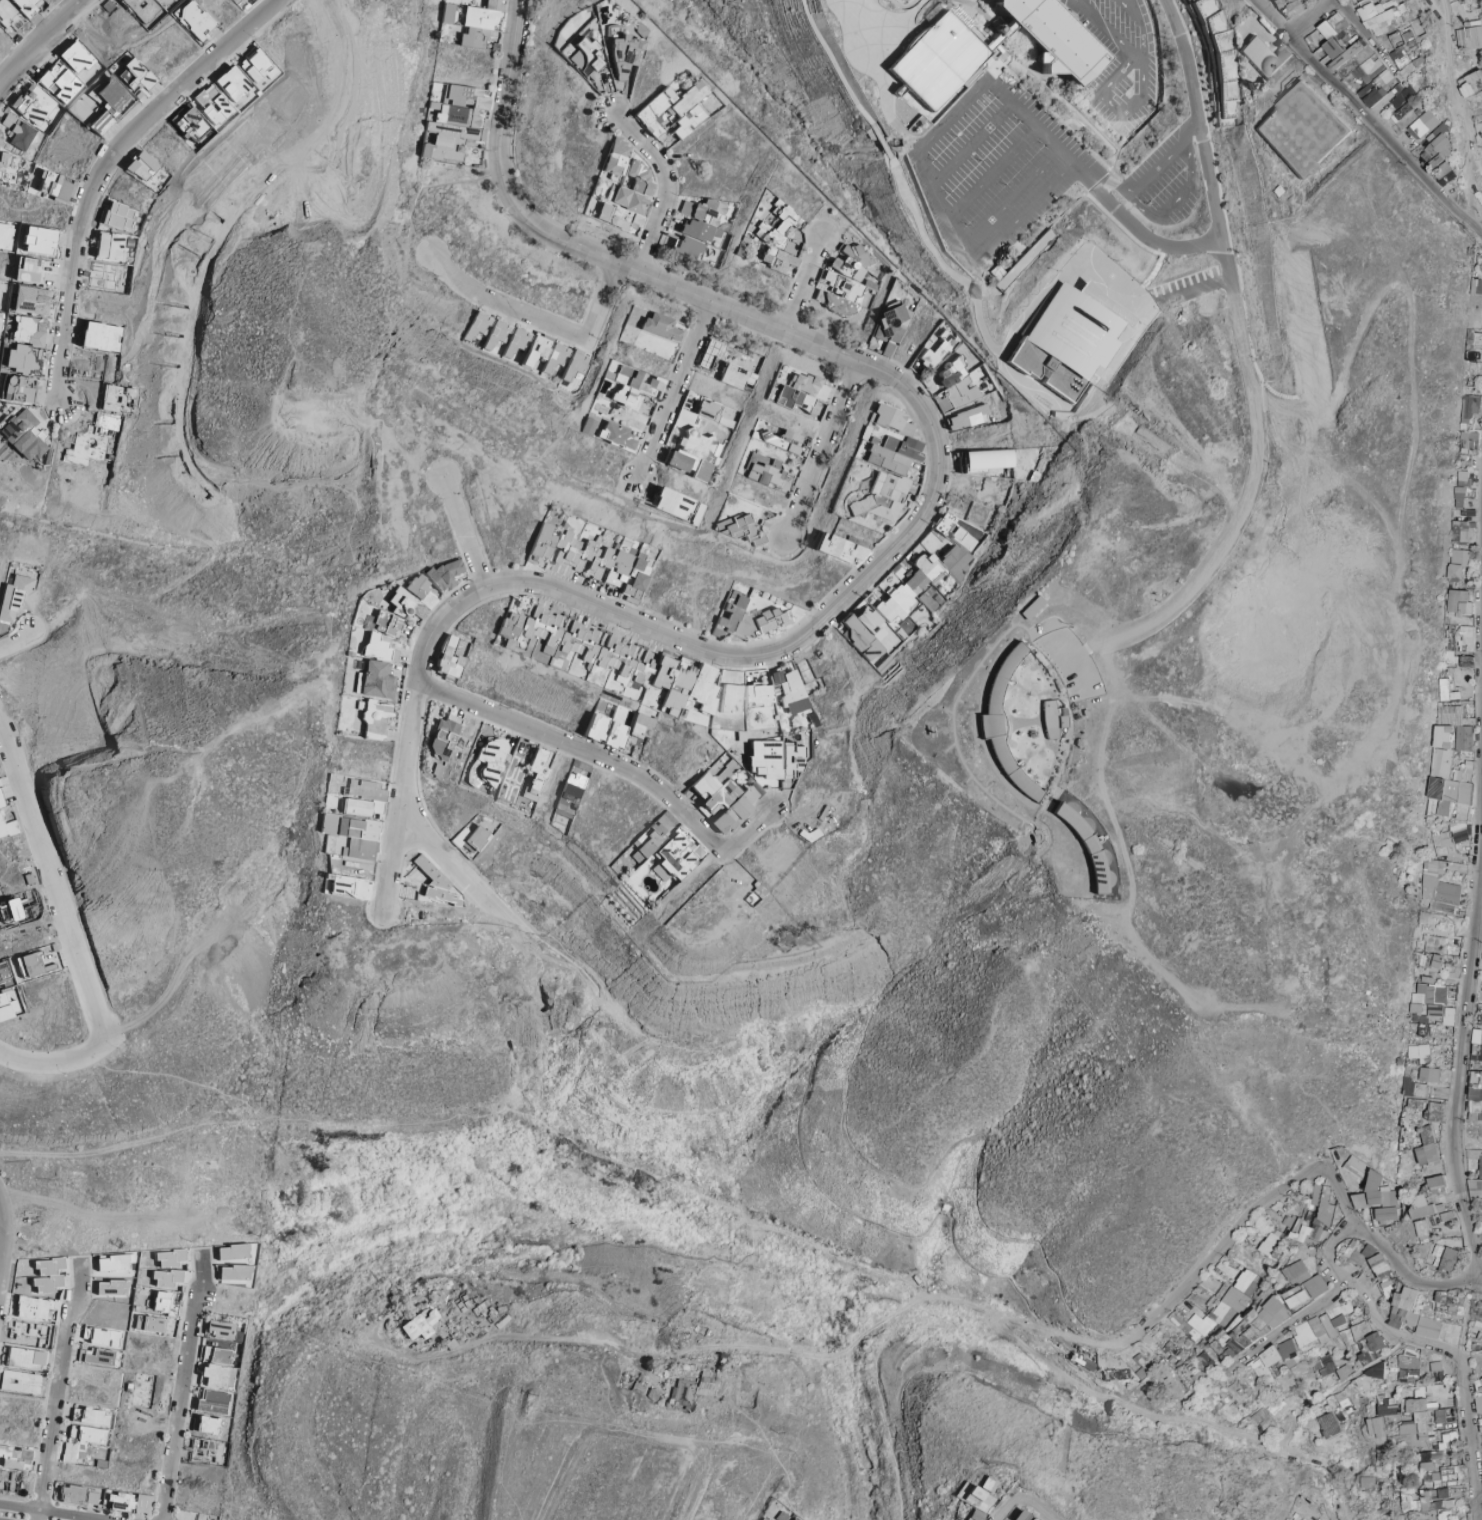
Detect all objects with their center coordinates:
parking lot: (1115, 62)
parking lot: (1026, 167)

